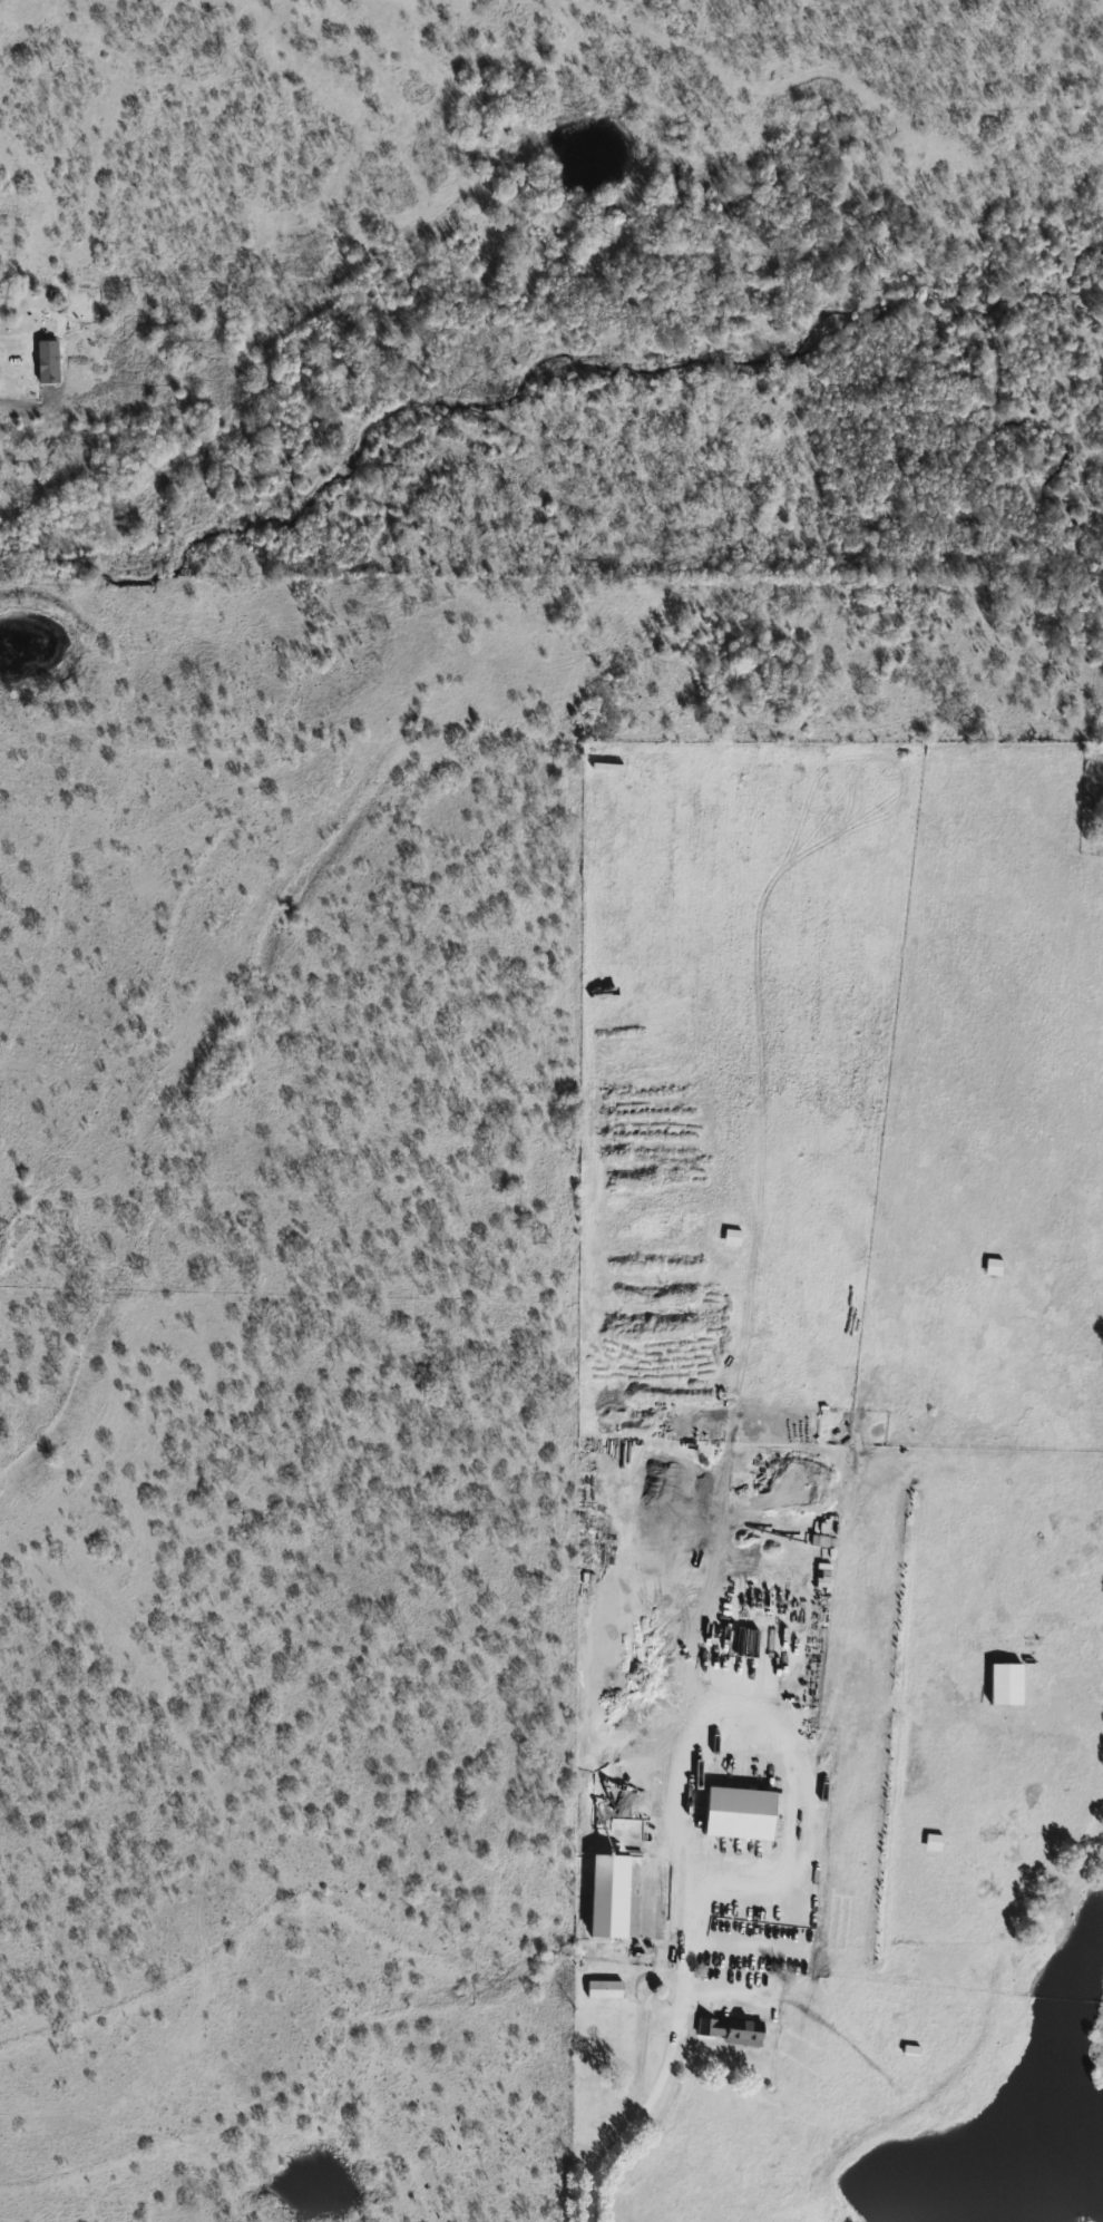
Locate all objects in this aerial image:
building: (51, 361)
building: (735, 1237)
building: (996, 1266)
building: (763, 1614)
building: (1009, 1684)
building: (936, 1842)
building: (705, 1864)
building: (687, 1945)
building: (606, 1989)
building: (734, 2027)
building: (912, 2049)
road: (670, 2060)

